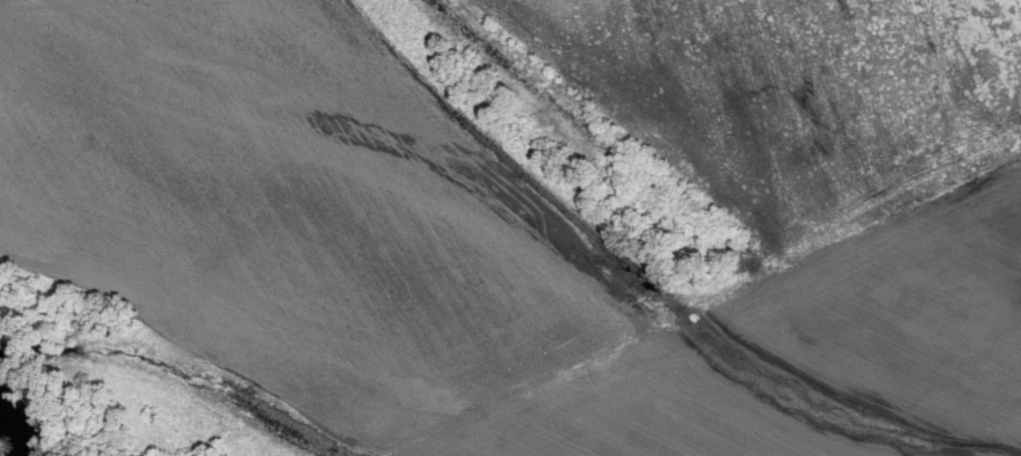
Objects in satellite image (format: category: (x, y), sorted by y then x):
river: (4, 450)

